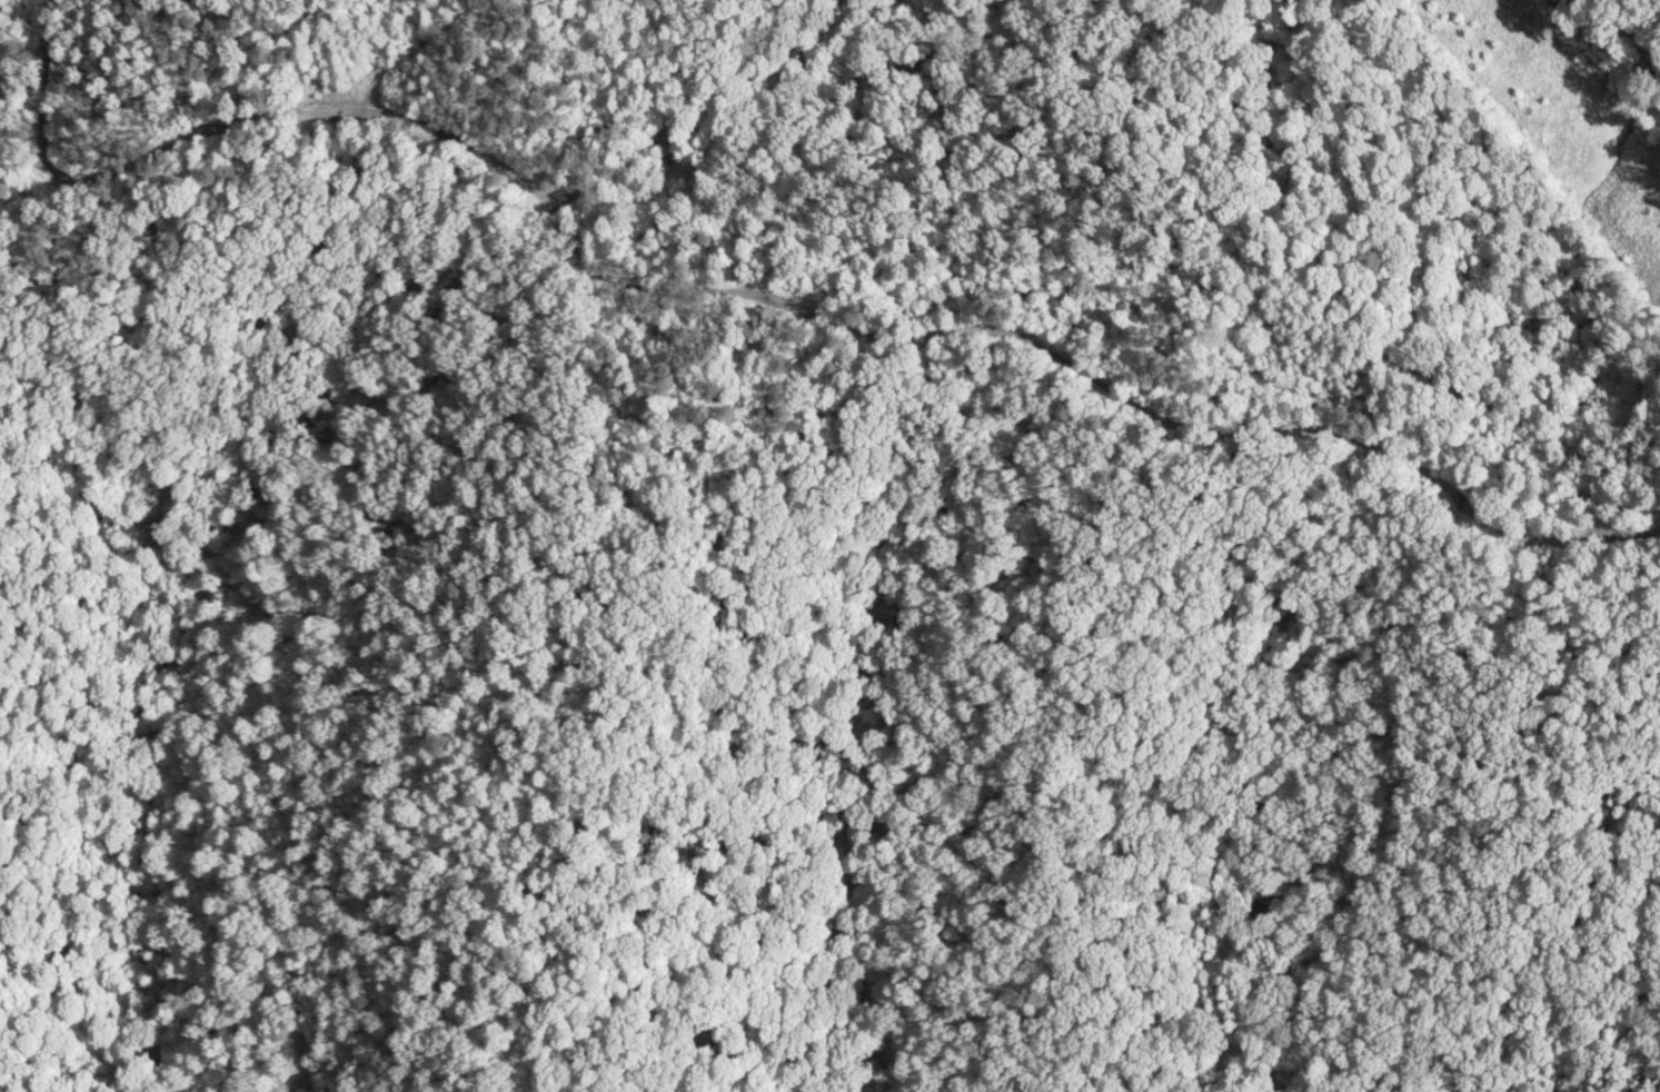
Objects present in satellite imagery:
road: (1189, 1084)

